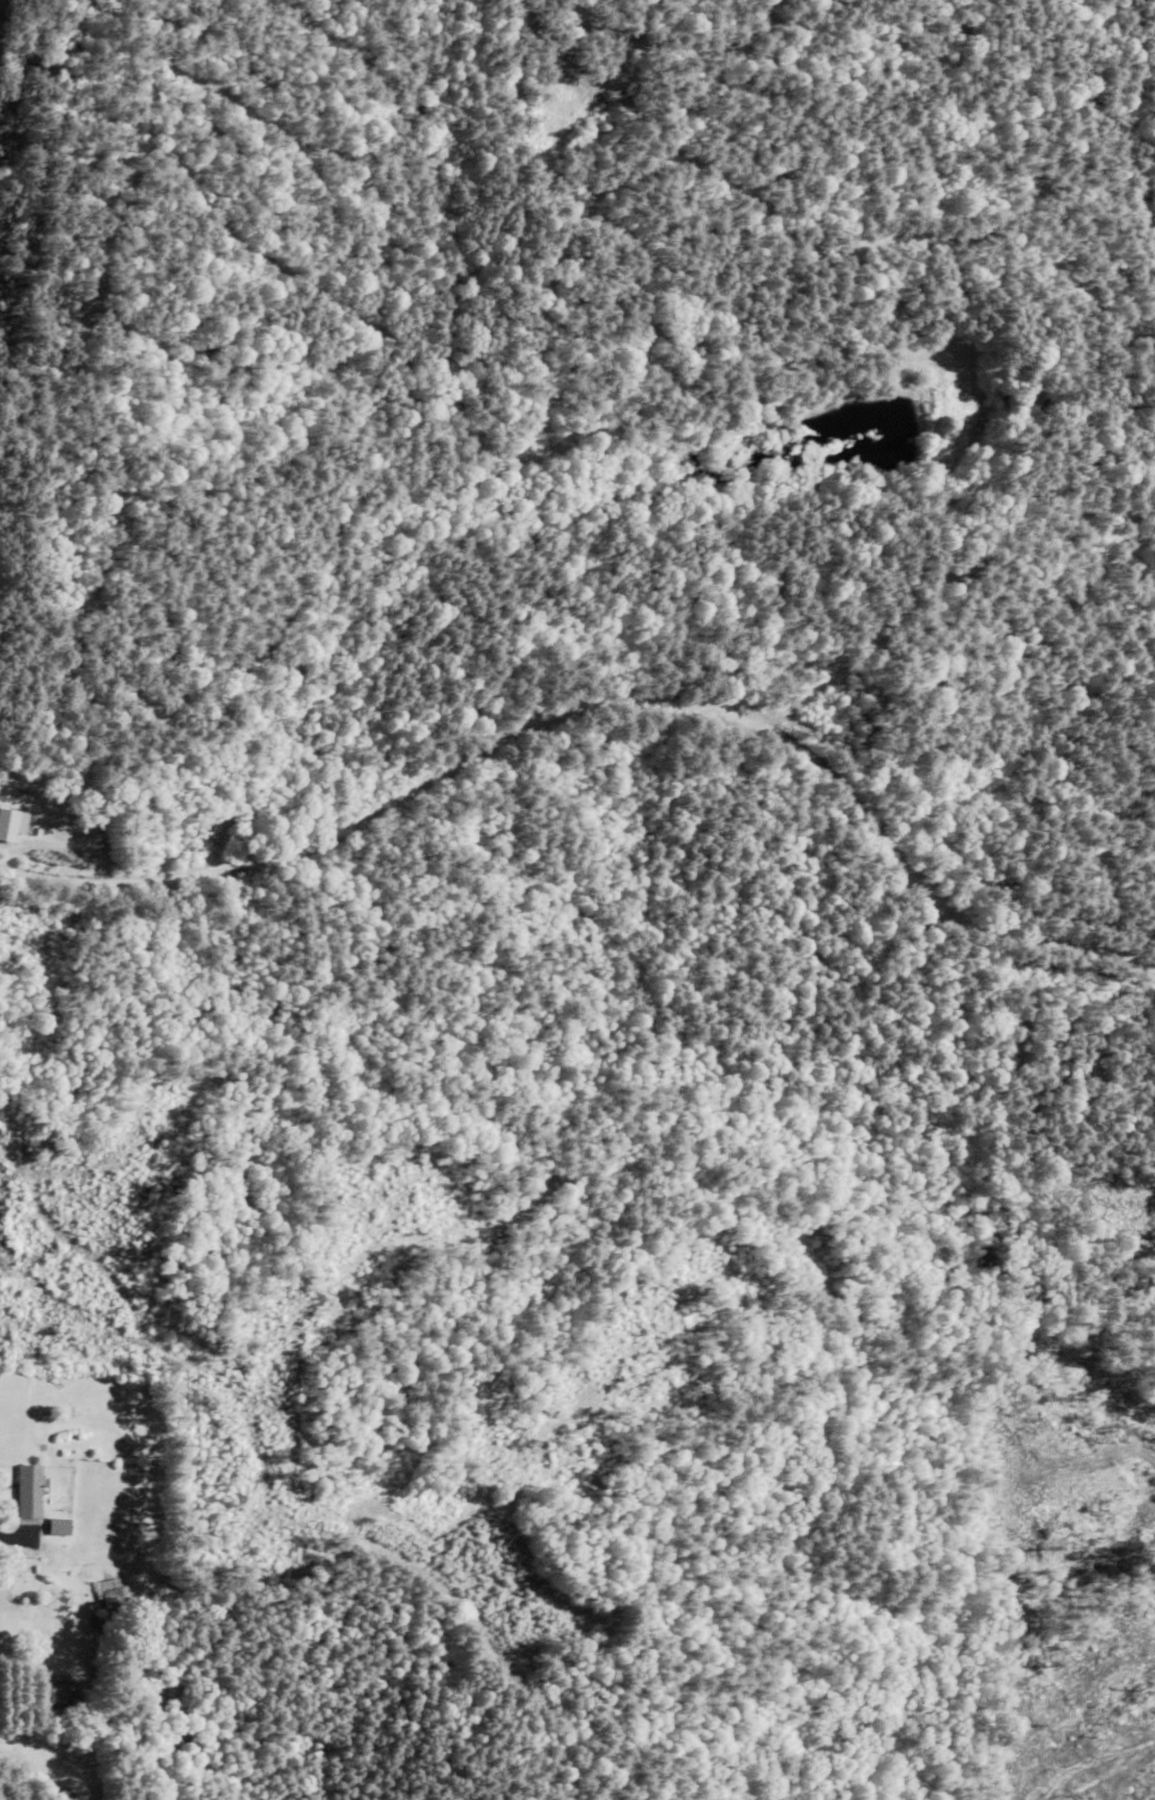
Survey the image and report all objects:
road: (601, 757)
building: (12, 826)
building: (29, 1492)
building: (59, 1528)
building: (111, 1593)
building: (59, 1692)

